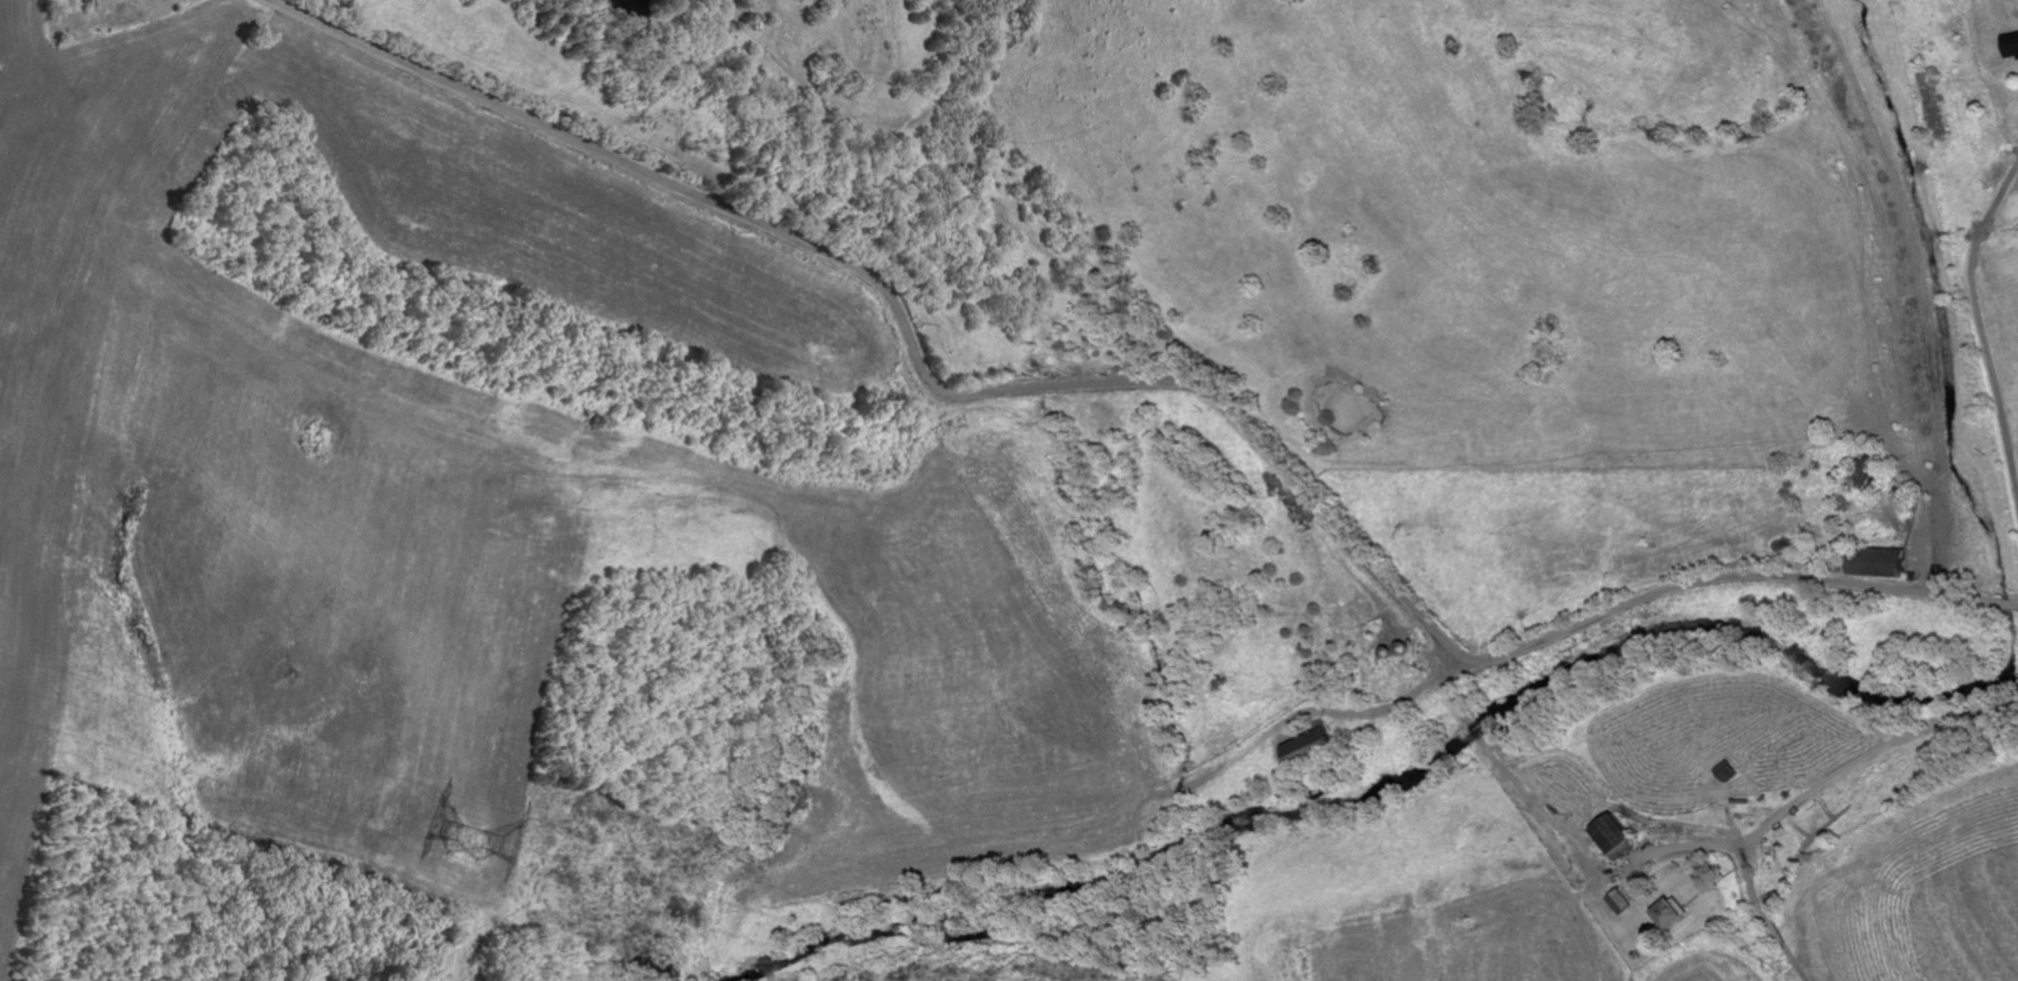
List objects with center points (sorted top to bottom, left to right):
building: (2011, 45)
road: (1140, 382)
building: (1864, 475)
building: (1877, 562)
road: (2013, 604)
building: (1410, 650)
building: (1304, 747)
building: (1729, 771)
road: (1845, 819)
building: (1615, 837)
power tower: (490, 845)
building: (1623, 902)
building: (1671, 913)

